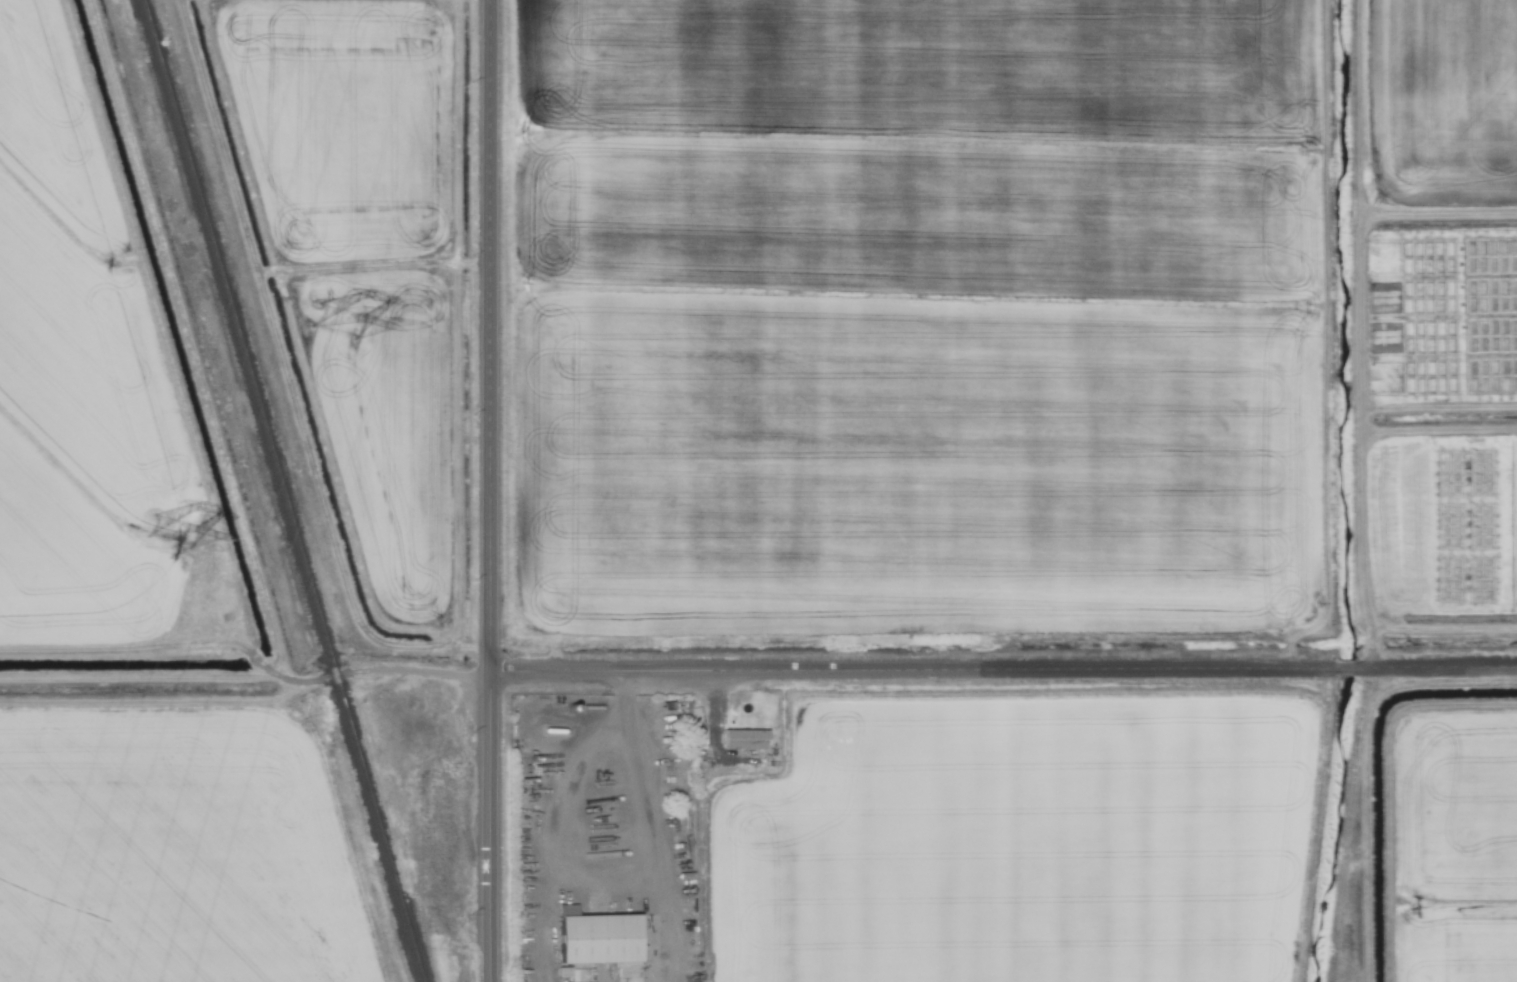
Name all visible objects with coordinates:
power tower: (345, 348)
railway: (279, 490)
road: (496, 491)
power tower: (182, 530)
road: (1006, 675)
building: (743, 739)
building: (598, 942)

